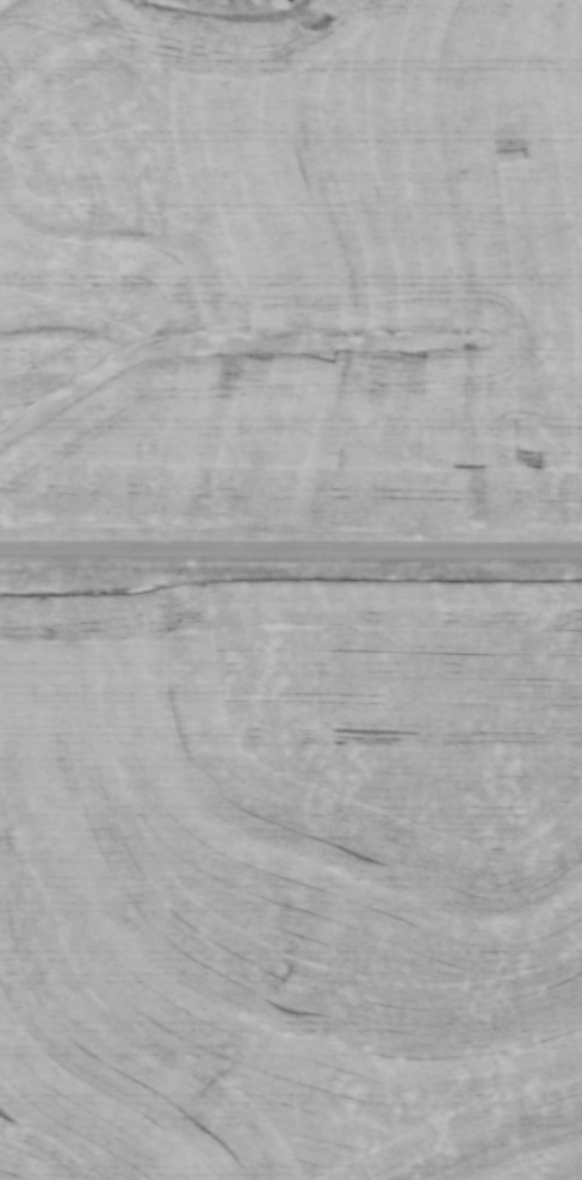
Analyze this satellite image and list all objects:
road: (291, 557)

